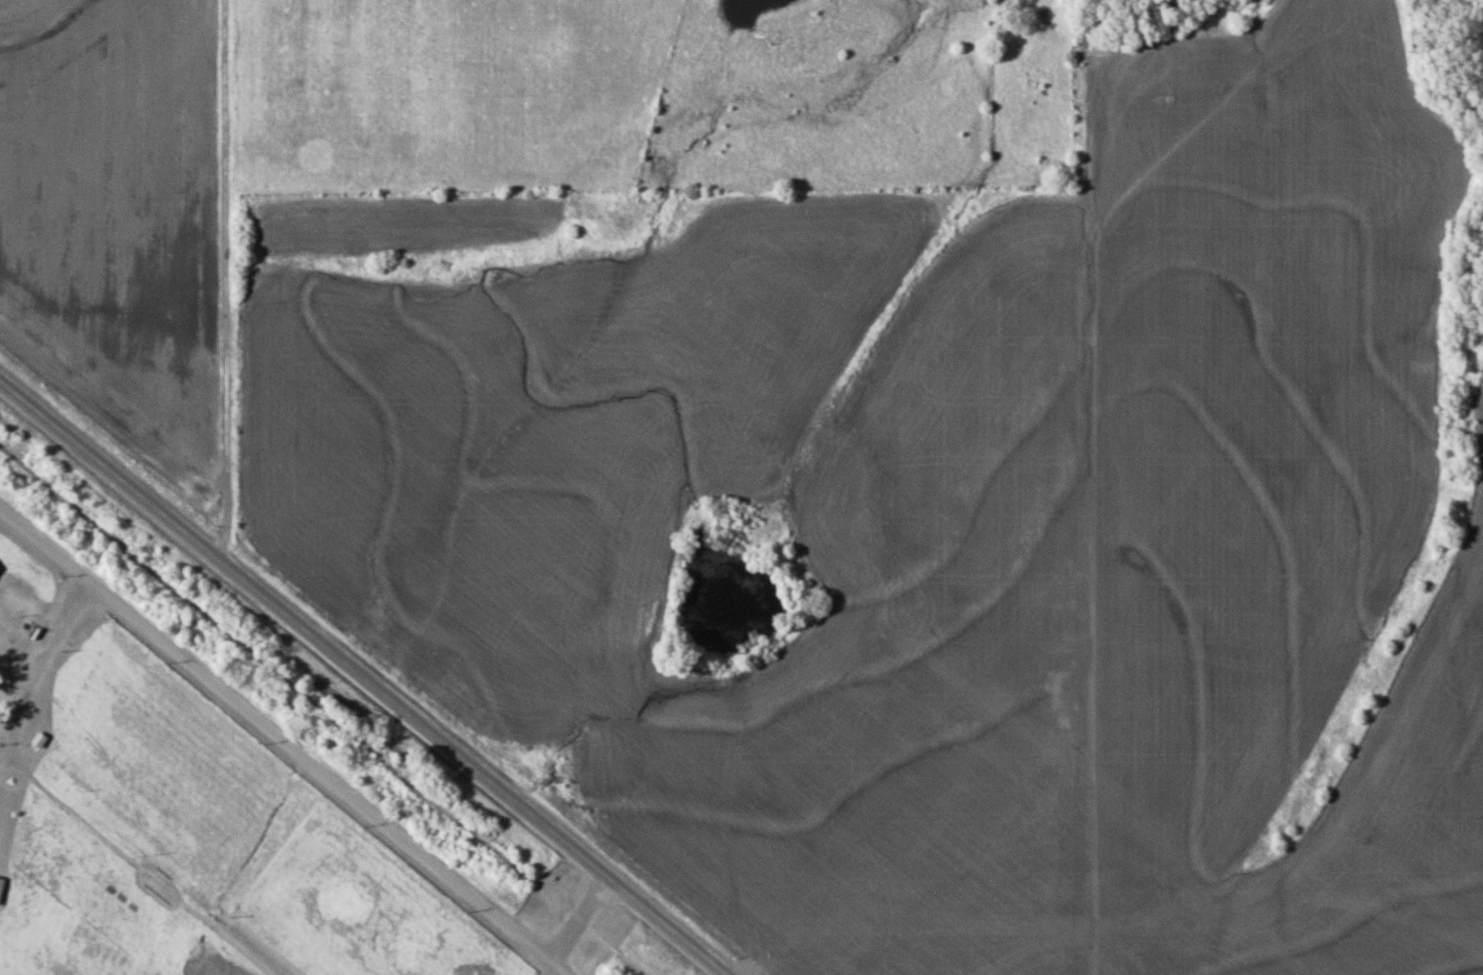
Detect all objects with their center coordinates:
road: (221, 278)
road: (49, 654)
road: (364, 677)
road: (285, 741)

